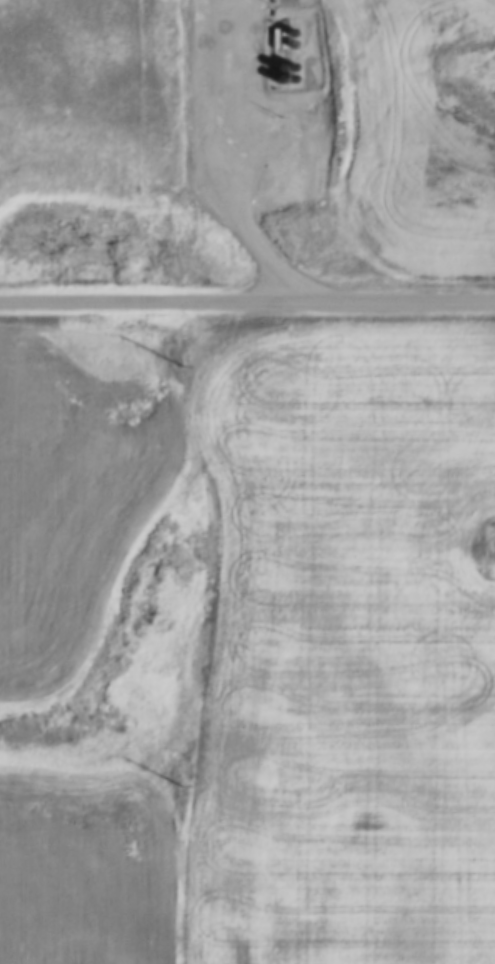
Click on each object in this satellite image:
building: (280, 17)
storage tank: (280, 17)
building: (282, 29)
storage tank: (282, 29)
building: (281, 41)
storage tank: (281, 41)
building: (267, 53)
storage tank: (267, 53)
building: (280, 53)
storage tank: (280, 53)
building: (281, 66)
storage tank: (281, 66)
building: (269, 69)
storage tank: (269, 69)
road: (199, 166)
road: (247, 303)

